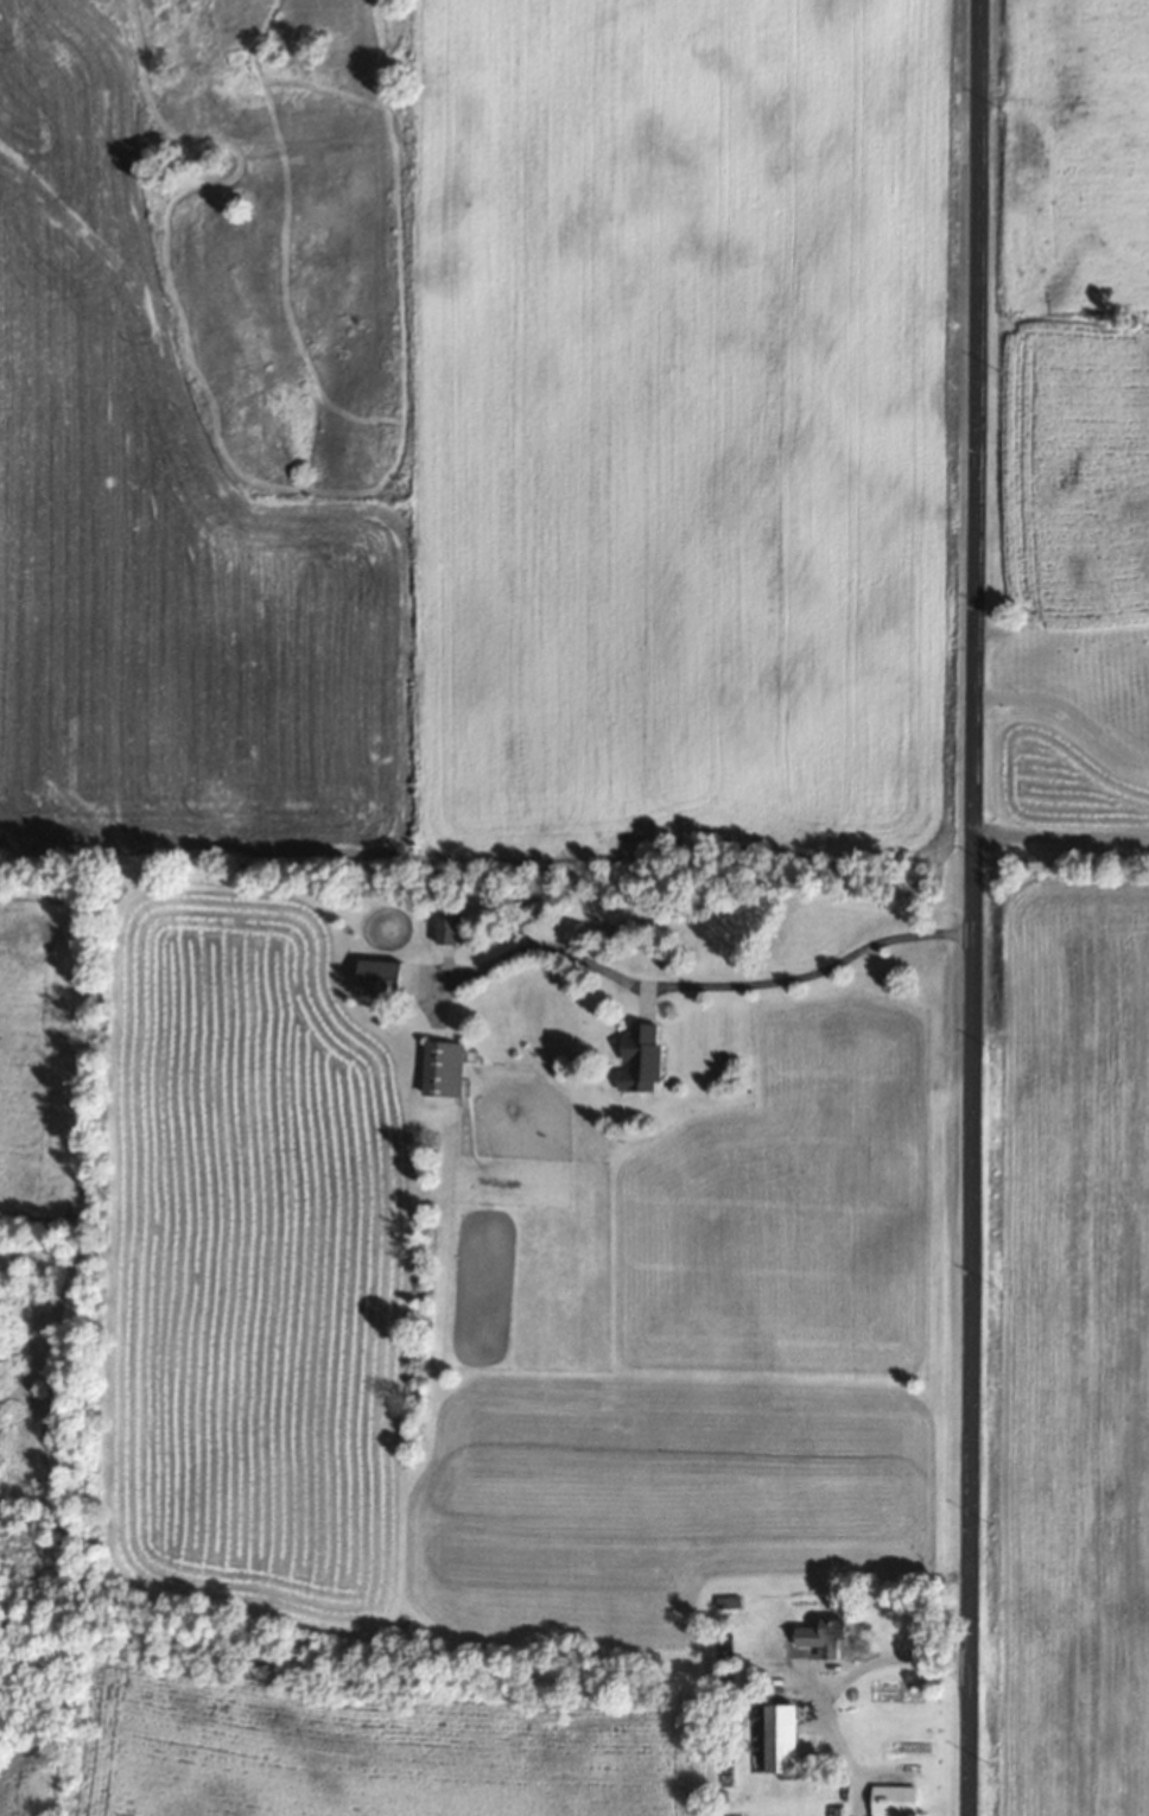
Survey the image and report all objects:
road: (1068, 707)
road: (1061, 836)
road: (972, 907)
building: (447, 928)
building: (641, 1055)
building: (443, 1066)
building: (725, 1600)
building: (823, 1634)
building: (782, 1736)
building: (888, 1797)

